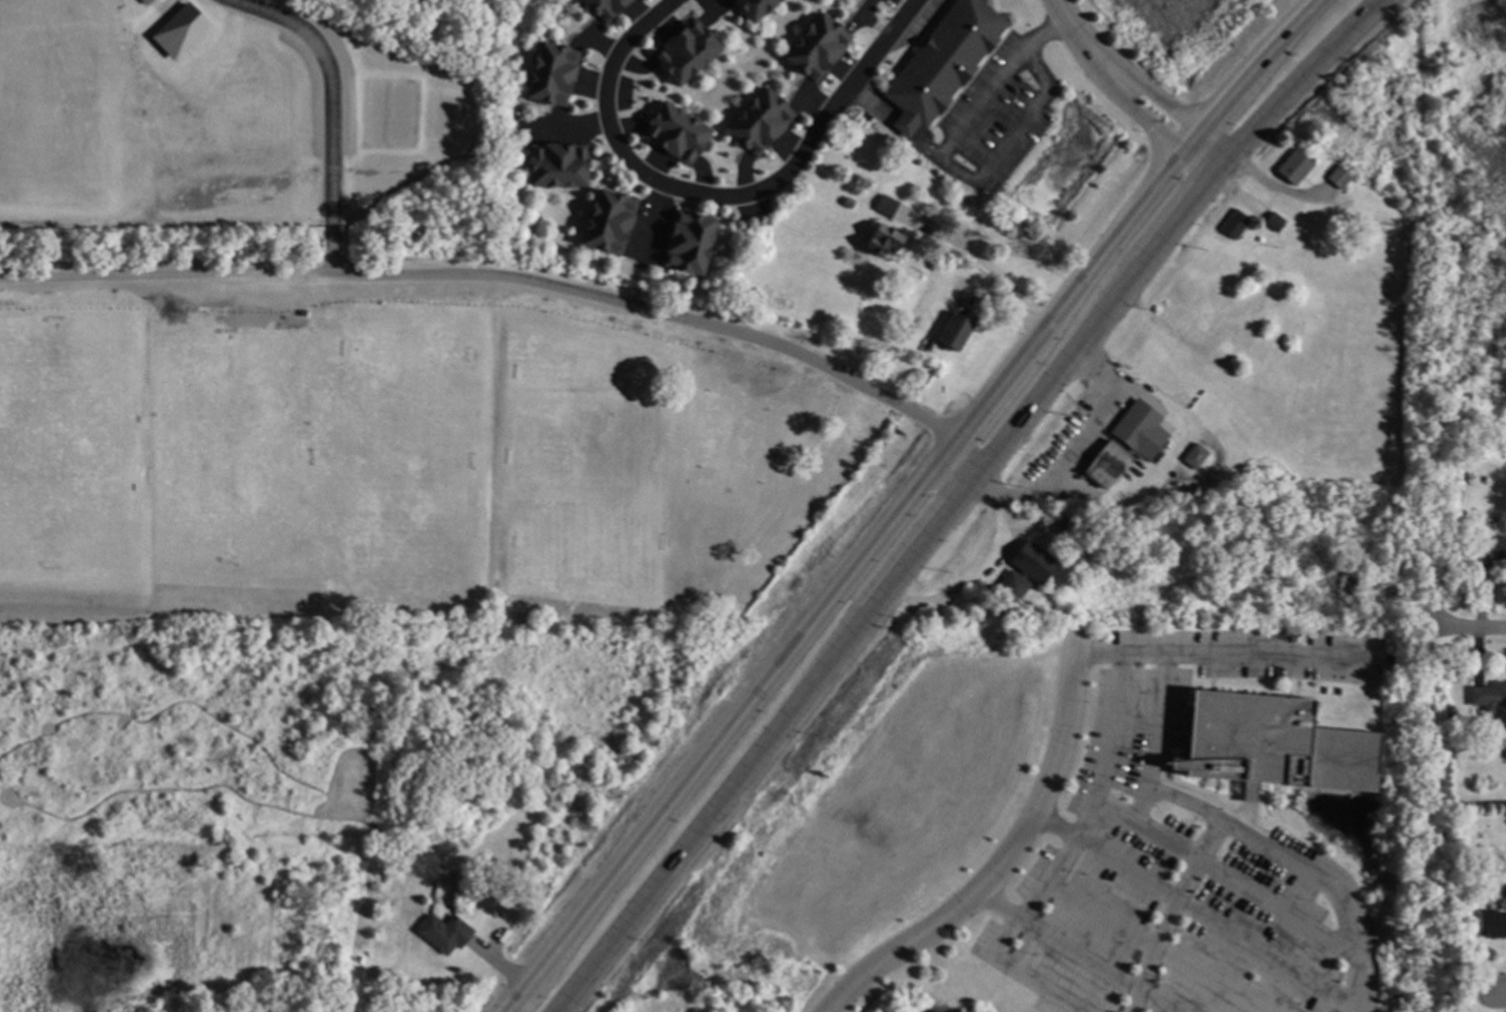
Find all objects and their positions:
building: (146, 2)
building: (756, 7)
building: (607, 8)
building: (179, 31)
building: (819, 45)
building: (688, 52)
building: (945, 62)
building: (553, 73)
road: (1126, 90)
parking lot: (998, 112)
park: (390, 113)
building: (762, 120)
road: (895, 121)
building: (677, 130)
road: (969, 155)
building: (560, 164)
road: (945, 164)
building: (1297, 167)
building: (1347, 182)
road: (721, 192)
building: (850, 202)
building: (889, 205)
building: (609, 220)
building: (1277, 221)
building: (1238, 223)
building: (886, 239)
building: (690, 242)
road: (990, 260)
road: (332, 275)
road: (675, 318)
building: (958, 331)
building: (931, 345)
park: (179, 398)
building: (1142, 429)
road: (1081, 436)
park: (353, 442)
park: (68, 448)
building: (1197, 457)
building: (1110, 463)
road: (953, 498)
road: (907, 501)
building: (1077, 530)
building: (1489, 550)
road: (983, 564)
building: (1027, 572)
road: (1467, 630)
building: (1490, 697)
building: (1452, 718)
building: (1276, 744)
road: (1149, 792)
building: (471, 803)
road: (1078, 816)
building: (1502, 817)
road: (1023, 825)
road: (1050, 826)
road: (1171, 915)
building: (1493, 924)
building: (448, 932)
road: (1074, 955)
road: (1024, 972)
road: (1502, 993)
road: (1086, 1011)

